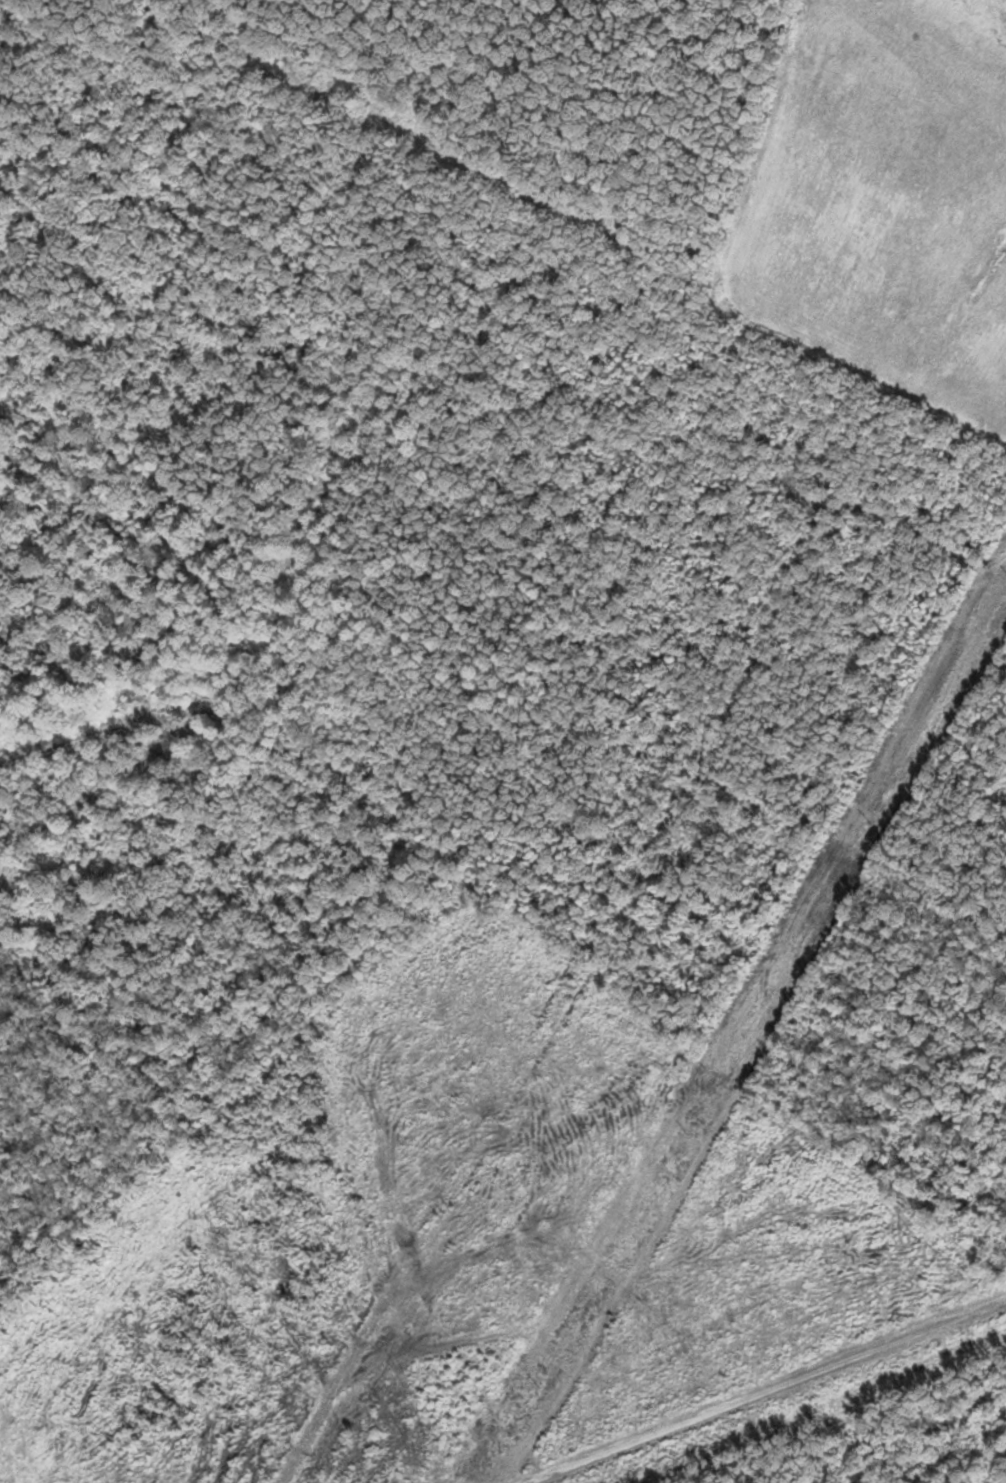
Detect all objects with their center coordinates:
road: (764, 1390)

